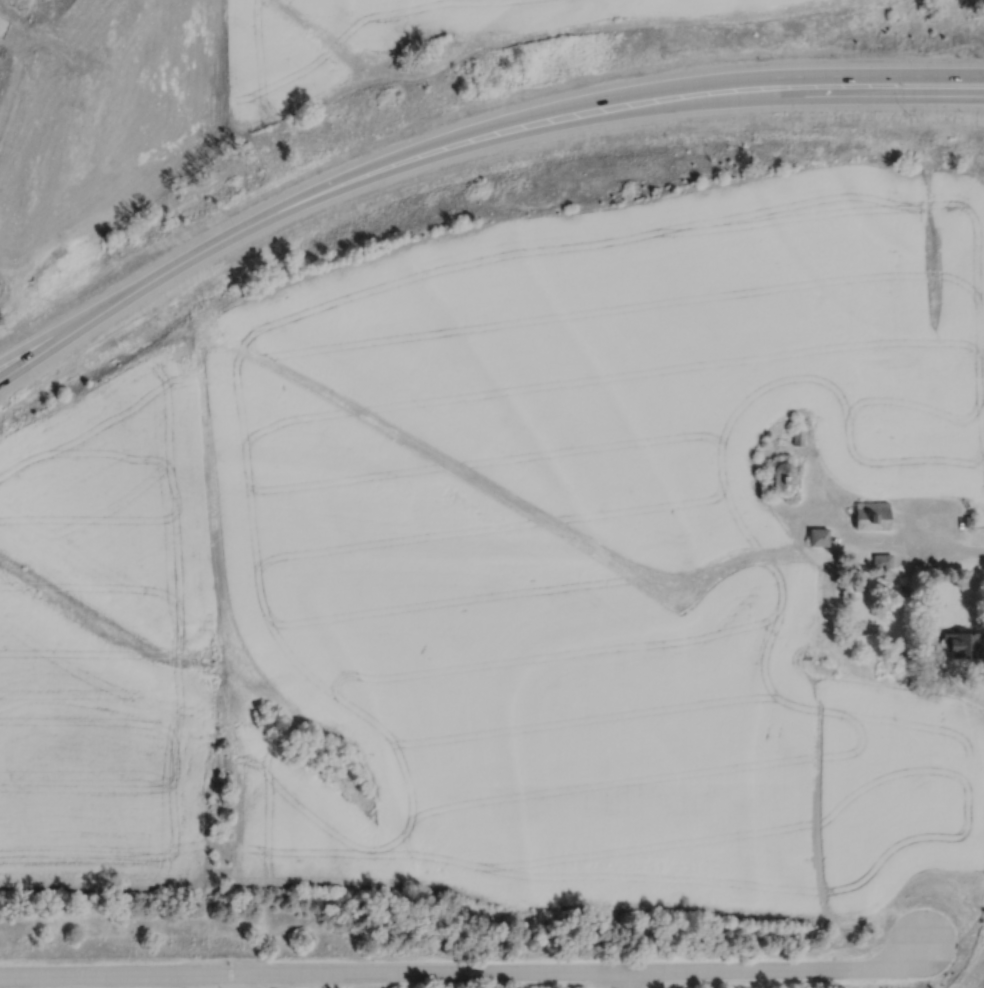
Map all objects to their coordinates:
road: (841, 73)
road: (949, 94)
road: (594, 96)
road: (703, 104)
road: (234, 230)
building: (798, 436)
building: (782, 479)
building: (873, 515)
building: (819, 536)
road: (917, 547)
building: (882, 561)
building: (871, 630)
building: (963, 645)
road: (463, 971)
road: (630, 978)

